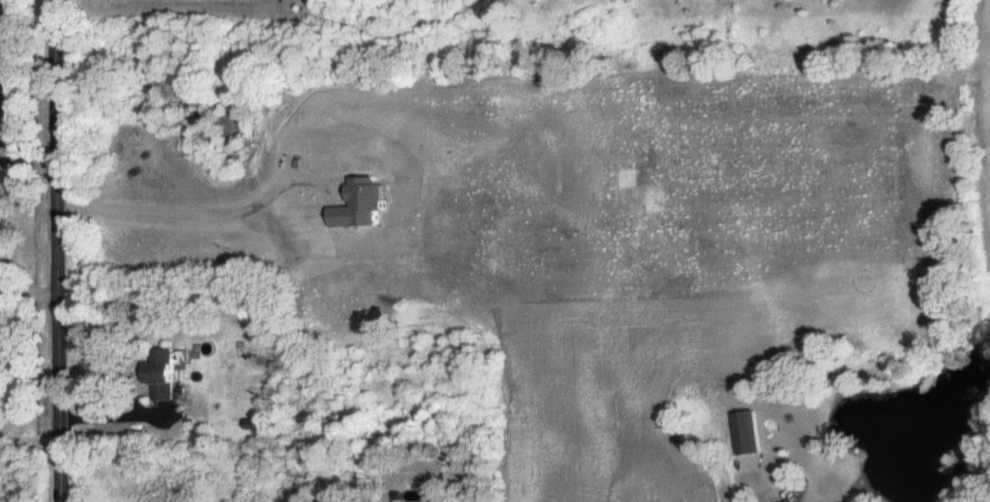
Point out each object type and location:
road: (59, 250)
building: (166, 376)
road: (118, 418)
road: (31, 440)
road: (741, 496)

